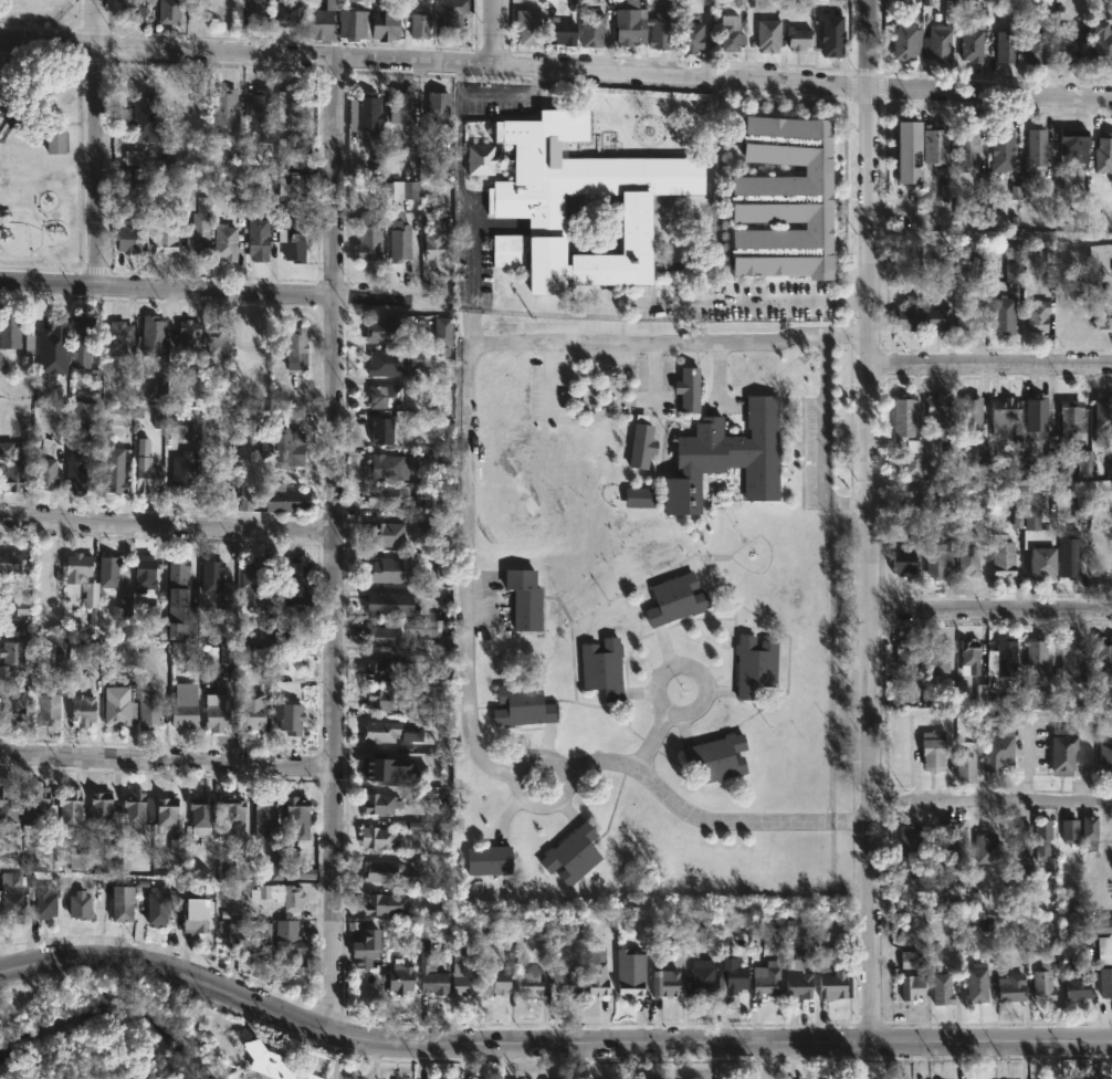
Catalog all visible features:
building: (134, 10)
building: (252, 10)
building: (168, 11)
building: (207, 11)
building: (287, 12)
building: (451, 12)
building: (625, 22)
building: (317, 23)
building: (419, 23)
building: (354, 24)
building: (385, 24)
building: (528, 25)
building: (589, 29)
building: (658, 30)
building: (559, 31)
building: (727, 32)
road: (495, 33)
building: (829, 33)
building: (767, 34)
building: (690, 36)
building: (796, 38)
building: (904, 41)
building: (936, 42)
building: (1073, 43)
building: (1102, 43)
building: (971, 44)
building: (1036, 44)
building: (1007, 45)
road: (556, 71)
road: (492, 101)
building: (397, 107)
building: (437, 107)
building: (291, 108)
building: (258, 109)
building: (222, 111)
building: (366, 111)
building: (143, 118)
building: (901, 138)
building: (53, 142)
road: (98, 142)
building: (933, 144)
building: (1074, 145)
building: (1003, 149)
building: (1036, 149)
building: (291, 150)
building: (965, 150)
building: (1103, 154)
building: (138, 157)
building: (427, 158)
building: (483, 159)
building: (565, 188)
building: (405, 190)
building: (946, 190)
building: (293, 192)
building: (233, 196)
building: (186, 200)
building: (784, 200)
road: (457, 203)
building: (198, 229)
building: (367, 237)
building: (397, 237)
building: (125, 238)
building: (162, 238)
building: (255, 239)
building: (222, 241)
building: (290, 241)
building: (433, 244)
building: (976, 262)
building: (1011, 265)
road: (221, 291)
road: (755, 302)
building: (1102, 307)
building: (1003, 313)
building: (904, 314)
building: (966, 314)
building: (1037, 315)
building: (936, 317)
building: (381, 331)
building: (9, 332)
building: (78, 332)
building: (441, 332)
building: (149, 335)
building: (115, 337)
building: (187, 338)
building: (214, 341)
building: (52, 347)
building: (293, 349)
building: (416, 358)
building: (386, 362)
road: (990, 362)
road: (717, 369)
road: (468, 370)
road: (653, 378)
building: (688, 389)
building: (384, 396)
building: (115, 409)
building: (1003, 412)
building: (968, 415)
building: (1037, 415)
building: (903, 417)
building: (1069, 417)
building: (936, 418)
building: (1103, 419)
building: (157, 421)
building: (179, 426)
building: (380, 431)
road: (821, 443)
building: (46, 446)
building: (641, 446)
building: (280, 447)
building: (6, 450)
building: (982, 451)
building: (727, 457)
building: (913, 457)
building: (1083, 462)
building: (1049, 463)
building: (388, 465)
building: (1066, 468)
building: (145, 469)
building: (1027, 469)
building: (113, 470)
building: (43, 474)
building: (76, 474)
building: (180, 474)
building: (11, 478)
road: (992, 485)
building: (245, 493)
building: (274, 497)
building: (638, 497)
building: (390, 499)
building: (1082, 504)
building: (945, 509)
building: (1032, 511)
building: (911, 515)
building: (1016, 518)
road: (871, 521)
road: (166, 525)
building: (384, 535)
road: (334, 542)
building: (1068, 556)
building: (936, 557)
building: (1001, 558)
building: (901, 562)
building: (966, 562)
building: (436, 563)
building: (1042, 564)
building: (9, 565)
building: (75, 567)
building: (387, 570)
building: (107, 572)
building: (141, 575)
building: (209, 577)
building: (250, 580)
building: (295, 583)
building: (175, 584)
building: (91, 595)
building: (227, 598)
building: (525, 599)
building: (674, 599)
building: (387, 604)
building: (124, 607)
building: (21, 608)
road: (992, 611)
building: (179, 627)
building: (399, 631)
building: (11, 652)
building: (906, 652)
building: (938, 653)
building: (1039, 653)
building: (227, 654)
building: (971, 654)
building: (210, 656)
building: (1102, 656)
building: (1007, 658)
building: (1071, 658)
building: (413, 661)
building: (755, 664)
road: (665, 667)
building: (602, 669)
building: (379, 670)
building: (22, 677)
building: (979, 694)
building: (379, 700)
building: (896, 701)
building: (11, 704)
building: (45, 704)
building: (522, 704)
building: (418, 708)
building: (182, 709)
building: (216, 711)
building: (249, 711)
building: (81, 712)
building: (118, 712)
building: (148, 713)
building: (289, 719)
building: (379, 732)
road: (649, 741)
building: (933, 750)
building: (1063, 751)
building: (997, 752)
building: (716, 756)
building: (1105, 758)
road: (524, 761)
road: (1025, 762)
road: (166, 763)
building: (966, 767)
building: (382, 768)
road: (992, 800)
building: (379, 803)
building: (8, 805)
building: (98, 806)
building: (36, 807)
building: (69, 808)
building: (133, 811)
building: (165, 811)
building: (199, 814)
building: (232, 814)
building: (263, 815)
building: (294, 817)
road: (705, 821)
building: (421, 827)
building: (1070, 828)
building: (1090, 831)
building: (953, 834)
building: (1042, 835)
building: (376, 836)
building: (909, 838)
building: (1021, 840)
building: (176, 846)
building: (113, 849)
building: (988, 849)
building: (573, 853)
building: (489, 860)
building: (75, 861)
building: (275, 862)
building: (419, 863)
building: (237, 867)
building: (914, 870)
building: (387, 872)
building: (300, 873)
building: (10, 897)
building: (279, 897)
building: (44, 900)
building: (120, 901)
building: (157, 902)
building: (78, 904)
building: (380, 905)
building: (196, 916)
building: (793, 929)
building: (264, 931)
building: (241, 941)
building: (285, 941)
building: (365, 949)
building: (1104, 949)
building: (909, 960)
building: (730, 970)
building: (300, 971)
building: (431, 972)
building: (596, 972)
building: (630, 972)
building: (396, 976)
building: (464, 976)
building: (797, 978)
building: (764, 980)
building: (1041, 980)
building: (495, 981)
building: (529, 982)
building: (977, 982)
building: (567, 983)
building: (665, 983)
building: (833, 983)
building: (1105, 983)
building: (697, 985)
building: (1077, 985)
building: (911, 986)
building: (1010, 987)
building: (943, 988)
park: (88, 1029)
road: (994, 1040)
road: (430, 1041)
road: (769, 1060)
building: (272, 1062)

